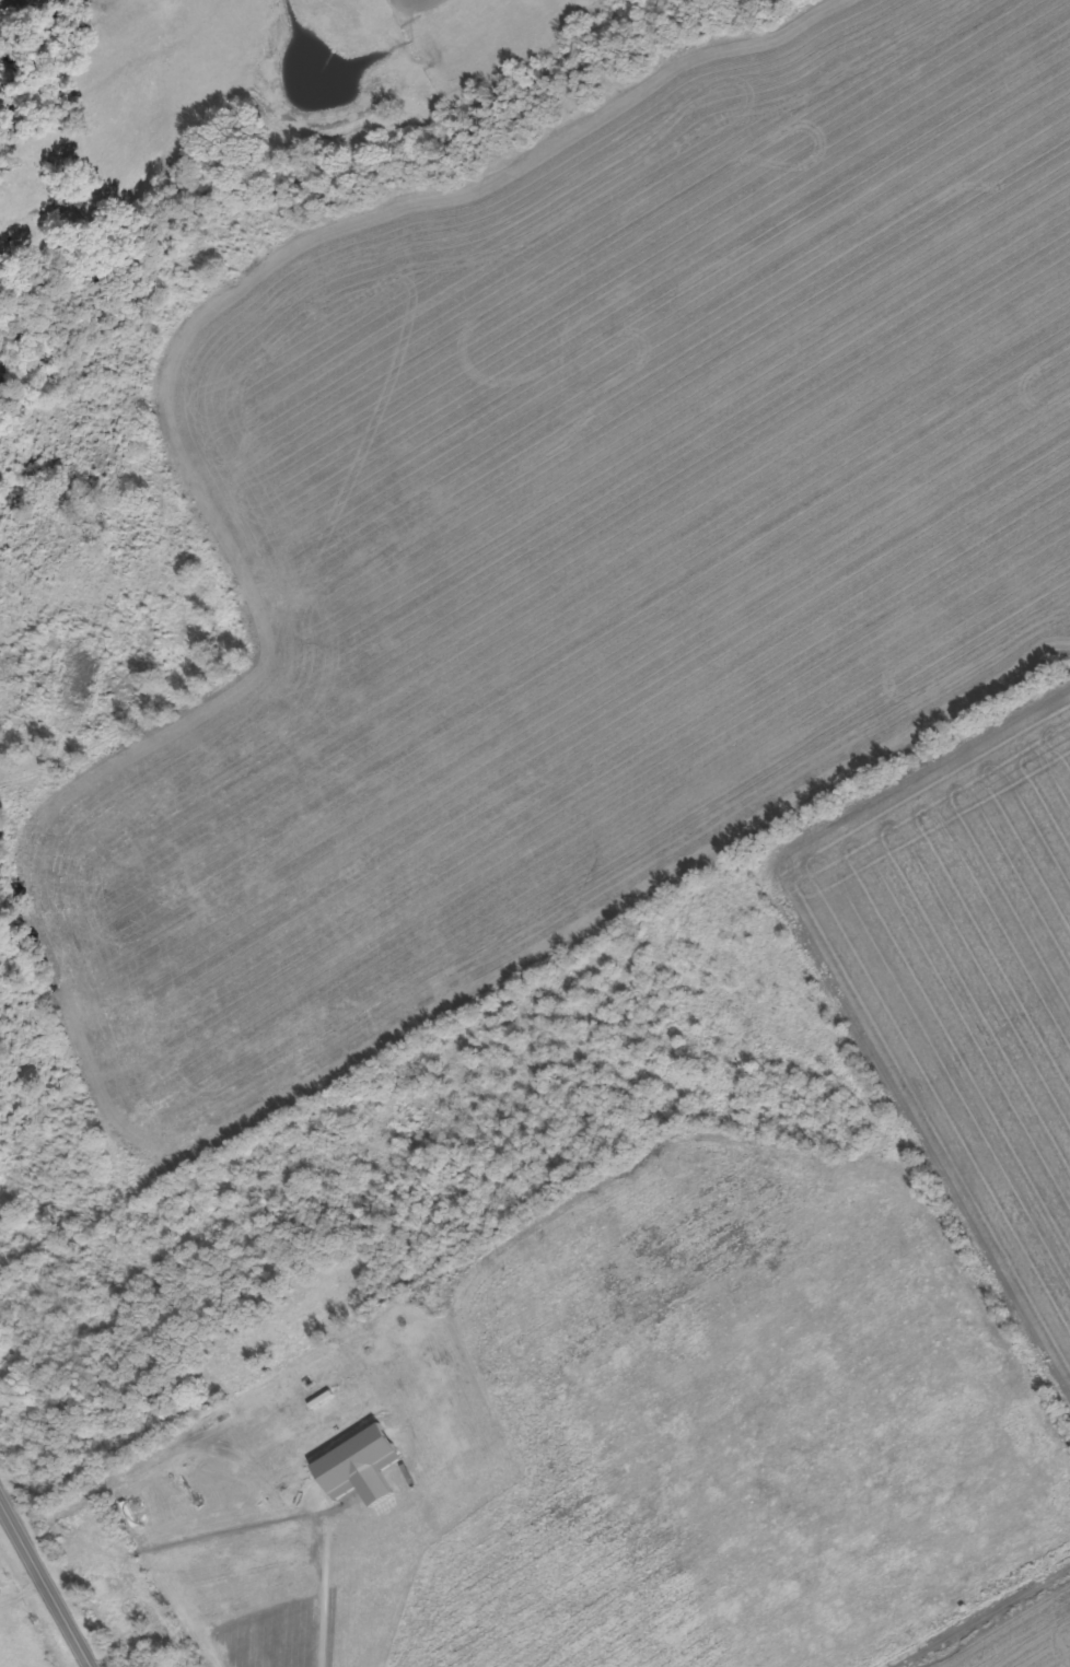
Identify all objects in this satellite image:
road: (196, 1019)
road: (48, 1577)
road: (970, 1609)

